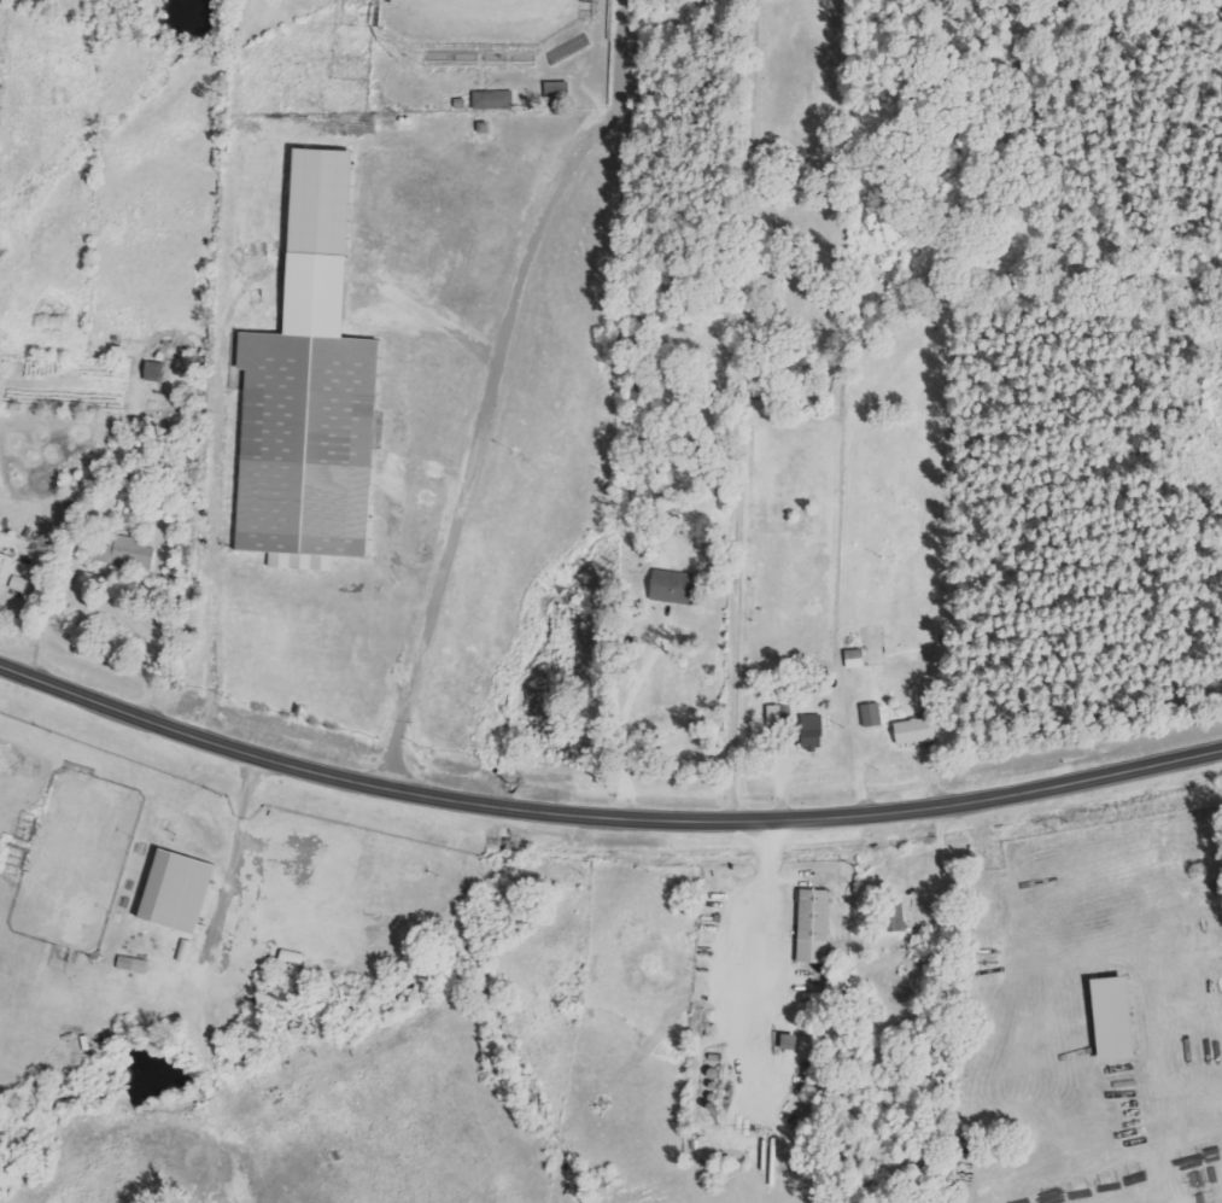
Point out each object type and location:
building: (569, 48)
building: (495, 100)
building: (157, 372)
building: (312, 392)
road: (474, 445)
building: (133, 553)
building: (7, 563)
building: (19, 583)
building: (674, 586)
building: (872, 714)
building: (778, 716)
building: (916, 730)
building: (813, 732)
road: (603, 810)
building: (895, 917)
building: (814, 925)
building: (134, 964)
building: (1117, 1018)

